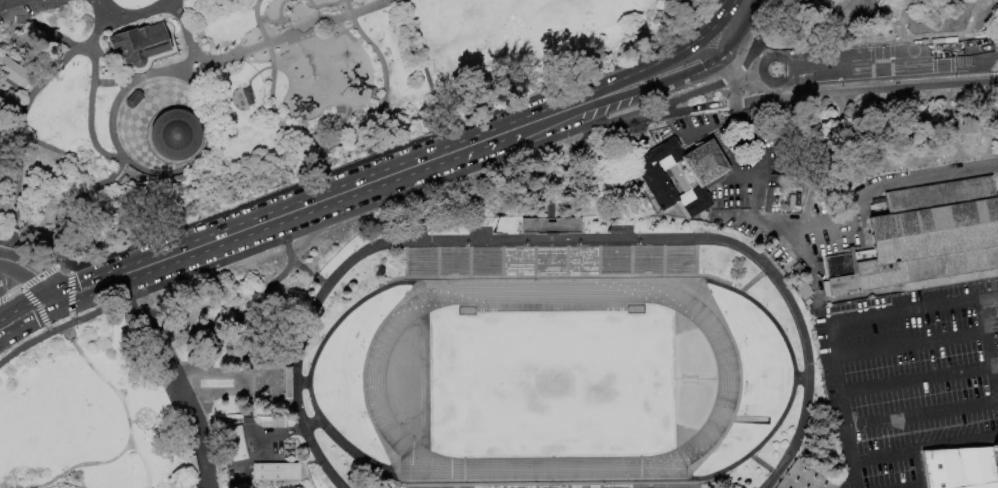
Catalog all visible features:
road: (9, 3)
parking lot: (23, 8)
road: (101, 10)
park: (568, 11)
park: (528, 13)
road: (136, 14)
park: (477, 14)
park: (439, 17)
road: (900, 17)
road: (772, 23)
road: (37, 26)
road: (726, 28)
road: (185, 29)
road: (742, 31)
road: (967, 33)
road: (757, 35)
road: (876, 37)
building: (137, 43)
road: (267, 44)
road: (968, 46)
road: (903, 48)
road: (420, 52)
road: (665, 59)
road: (680, 59)
road: (764, 60)
road: (886, 61)
park: (874, 62)
road: (793, 70)
building: (13, 71)
road: (205, 74)
road: (682, 74)
road: (731, 75)
road: (123, 81)
road: (95, 83)
road: (734, 84)
road: (15, 86)
road: (90, 87)
road: (868, 90)
building: (246, 96)
road: (614, 96)
building: (132, 98)
road: (675, 100)
road: (732, 103)
road: (676, 110)
road: (550, 116)
road: (20, 118)
road: (613, 120)
road: (709, 127)
building: (173, 134)
road: (33, 141)
road: (329, 148)
road: (395, 150)
road: (423, 163)
road: (758, 164)
road: (188, 165)
building: (679, 175)
road: (548, 177)
building: (176, 179)
building: (121, 180)
road: (909, 180)
road: (93, 188)
road: (548, 208)
road: (349, 213)
road: (746, 218)
building: (550, 225)
road: (244, 230)
road: (782, 230)
road: (828, 235)
building: (923, 237)
road: (801, 239)
road: (393, 242)
park: (496, 242)
road: (29, 250)
road: (35, 262)
road: (298, 267)
building: (795, 267)
road: (112, 271)
road: (814, 271)
building: (977, 275)
road: (37, 276)
road: (24, 277)
road: (752, 281)
road: (402, 283)
road: (115, 285)
road: (64, 288)
road: (20, 289)
traffic signals: (59, 290)
road: (12, 291)
road: (52, 292)
road: (69, 293)
traffic signals: (45, 295)
road: (2, 297)
road: (62, 297)
road: (39, 298)
road: (49, 303)
road: (68, 304)
road: (36, 305)
traffic signals: (66, 305)
road: (59, 308)
road: (15, 310)
traffic signals: (53, 311)
road: (252, 311)
road: (47, 313)
road: (139, 315)
road: (70, 318)
road: (829, 323)
road: (21, 324)
road: (48, 328)
road: (48, 331)
road: (802, 340)
road: (908, 342)
road: (989, 347)
building: (263, 361)
road: (279, 362)
stadium: (552, 364)
road: (219, 373)
road: (362, 376)
road: (915, 377)
parking lot: (908, 378)
road: (800, 379)
park: (553, 380)
track: (728, 381)
road: (245, 382)
building: (284, 382)
road: (289, 383)
road: (740, 384)
road: (238, 391)
road: (258, 391)
road: (274, 399)
road: (274, 399)
road: (119, 400)
building: (262, 403)
road: (186, 407)
park: (45, 409)
road: (204, 411)
road: (920, 415)
road: (309, 425)
road: (274, 436)
building: (233, 443)
building: (996, 452)
road: (801, 460)
road: (79, 465)
building: (960, 468)
building: (273, 471)
road: (771, 472)
road: (702, 478)

